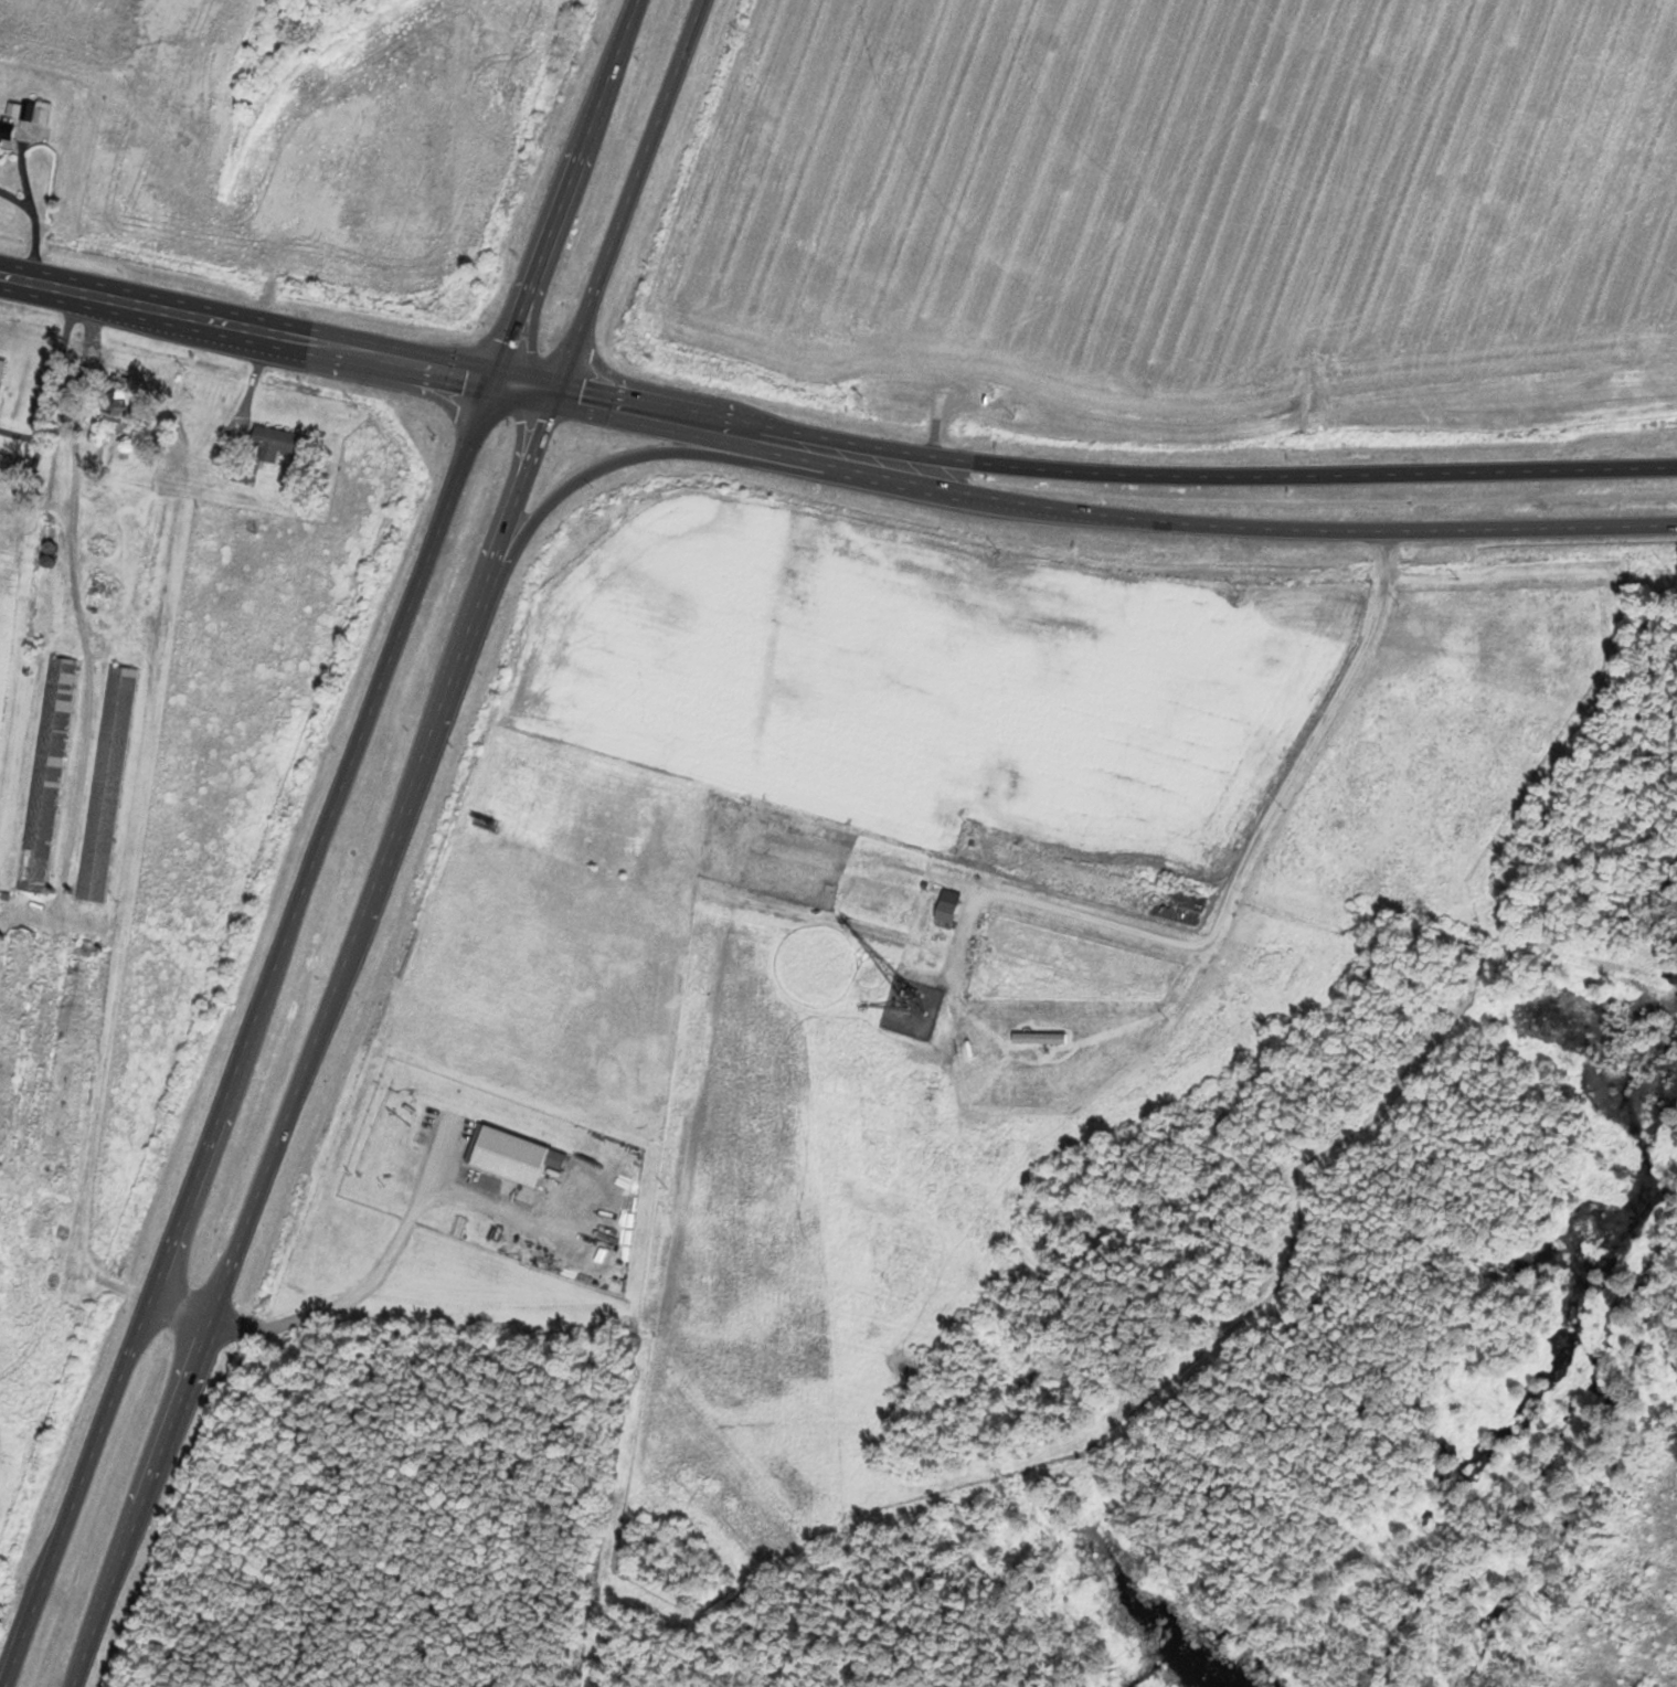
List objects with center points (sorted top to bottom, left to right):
building: (7, 131)
road: (22, 166)
road: (570, 190)
road: (631, 197)
road: (35, 227)
road: (446, 248)
road: (246, 327)
traffic signals: (509, 342)
building: (2, 369)
traffic signals: (467, 374)
building: (118, 397)
traffic signals: (579, 399)
road: (620, 406)
traffic signals: (545, 420)
building: (273, 443)
road: (222, 447)
road: (640, 453)
building: (8, 465)
road: (1211, 475)
road: (517, 494)
road: (1207, 522)
building: (4, 556)
building: (98, 590)
road: (79, 612)
building: (49, 774)
building: (108, 783)
road: (129, 892)
building: (1175, 904)
building: (946, 912)
road: (1193, 944)
building: (12, 1020)
road: (248, 1032)
building: (1040, 1038)
building: (68, 1055)
road: (276, 1140)
building: (508, 1156)
road: (670, 1232)
road: (348, 1299)

